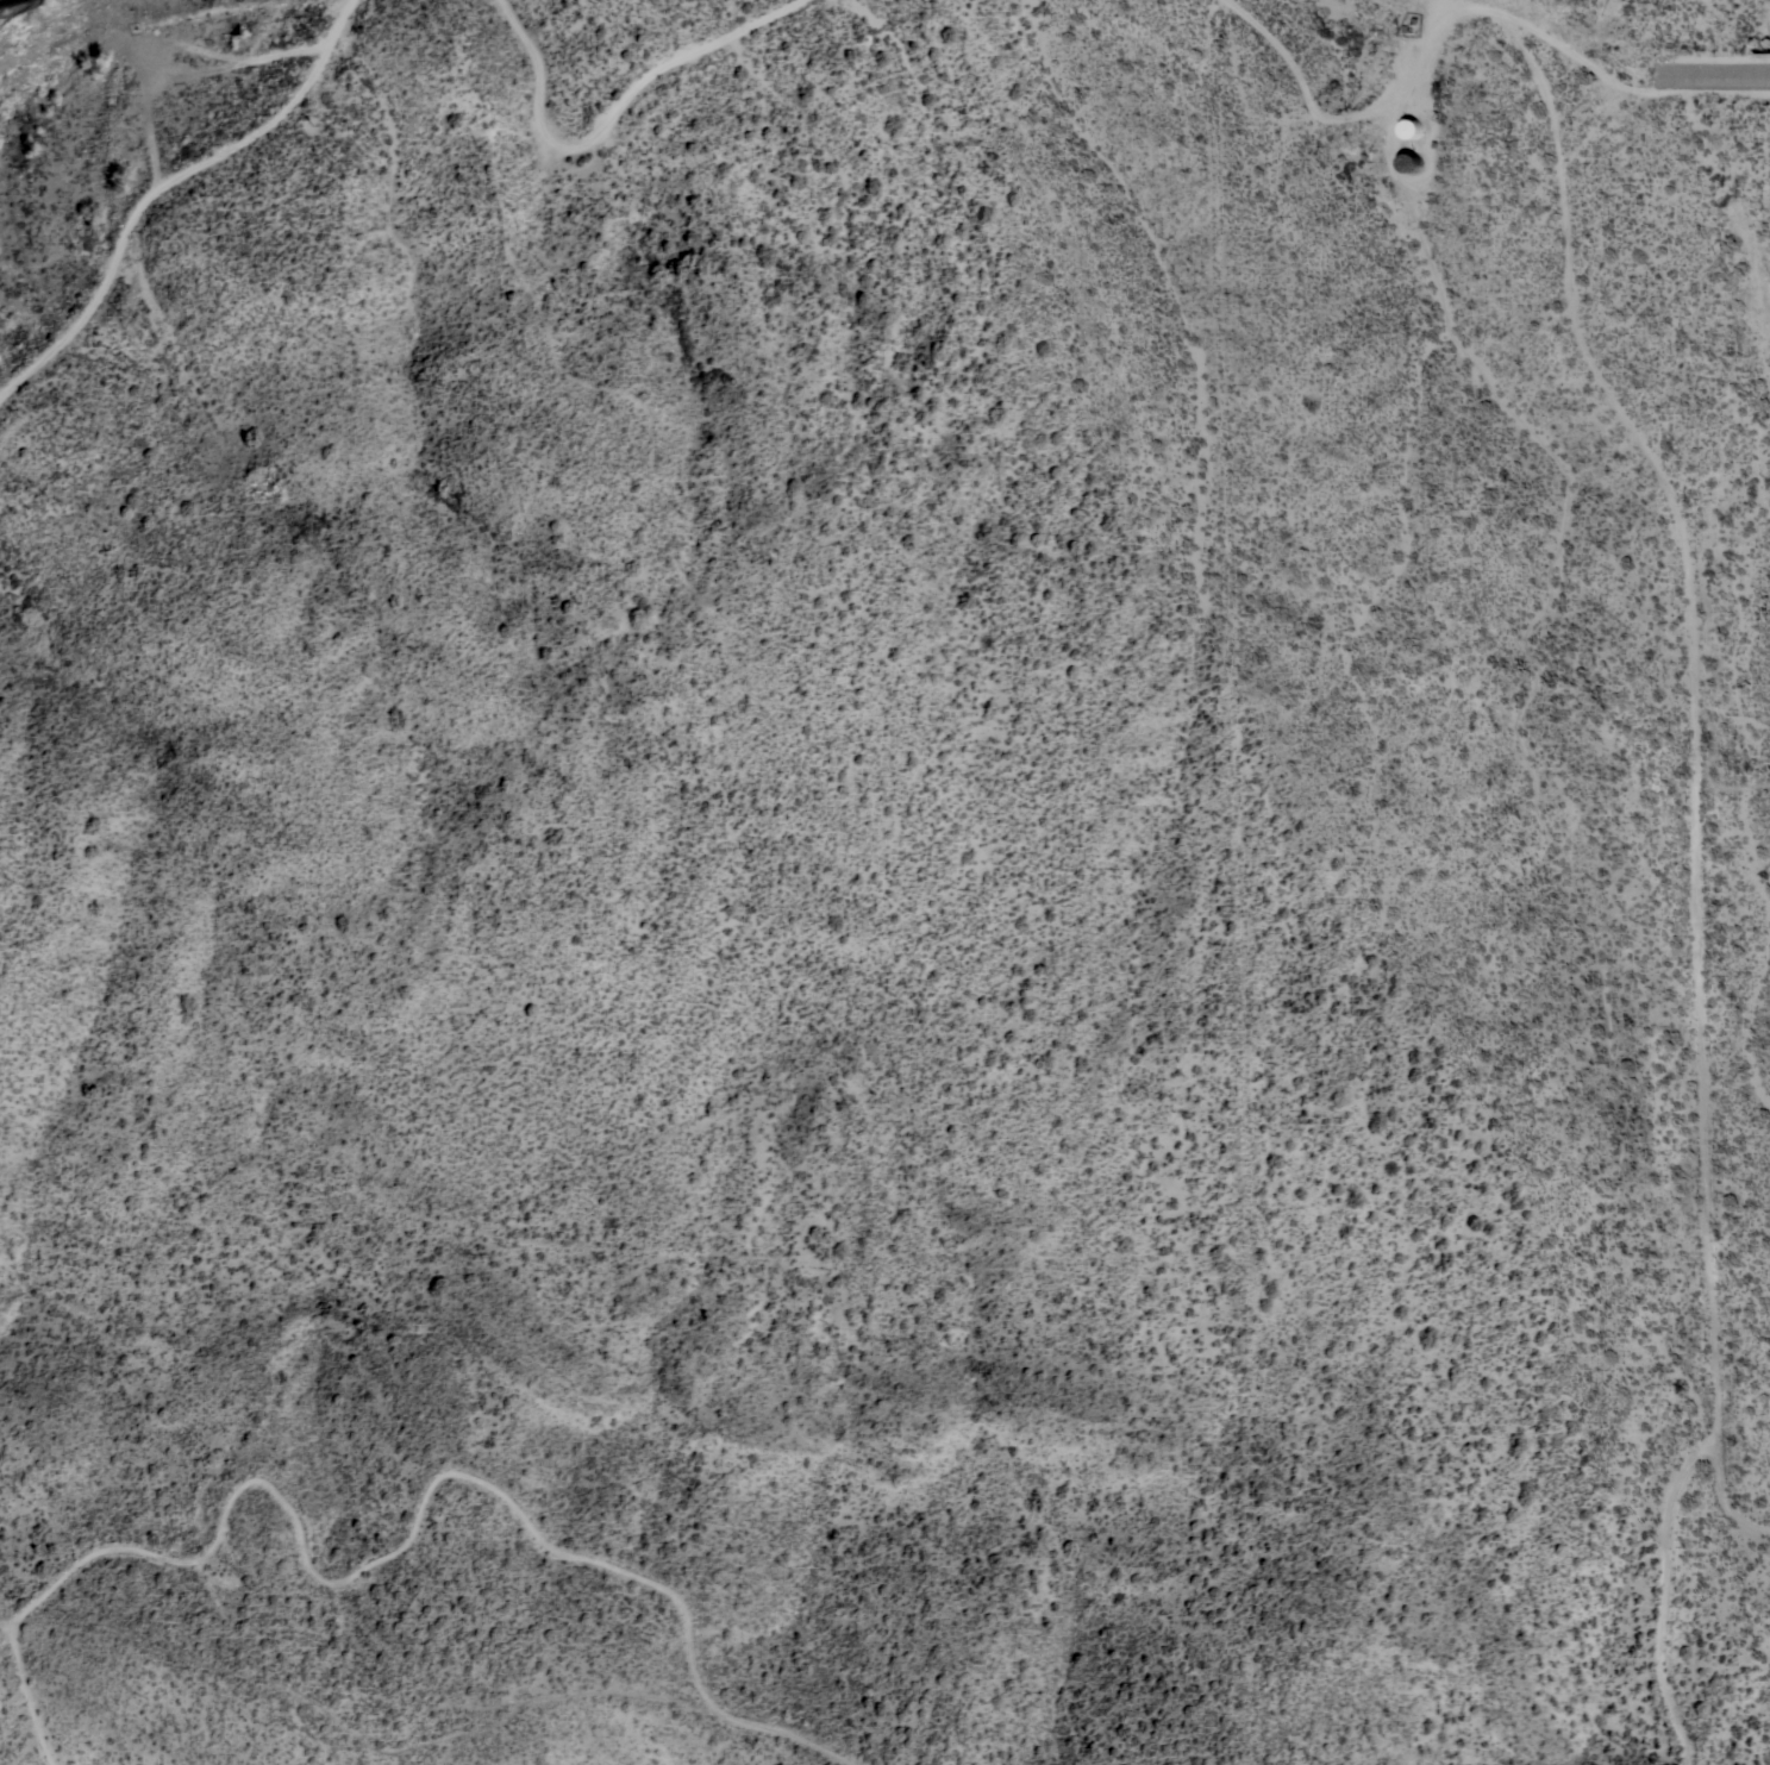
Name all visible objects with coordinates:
road: (1424, 50)
road: (1718, 76)
building: (1413, 127)
building: (1411, 161)
road: (168, 186)
road: (1705, 876)
road: (1731, 1501)
road: (424, 1522)
road: (35, 1696)

